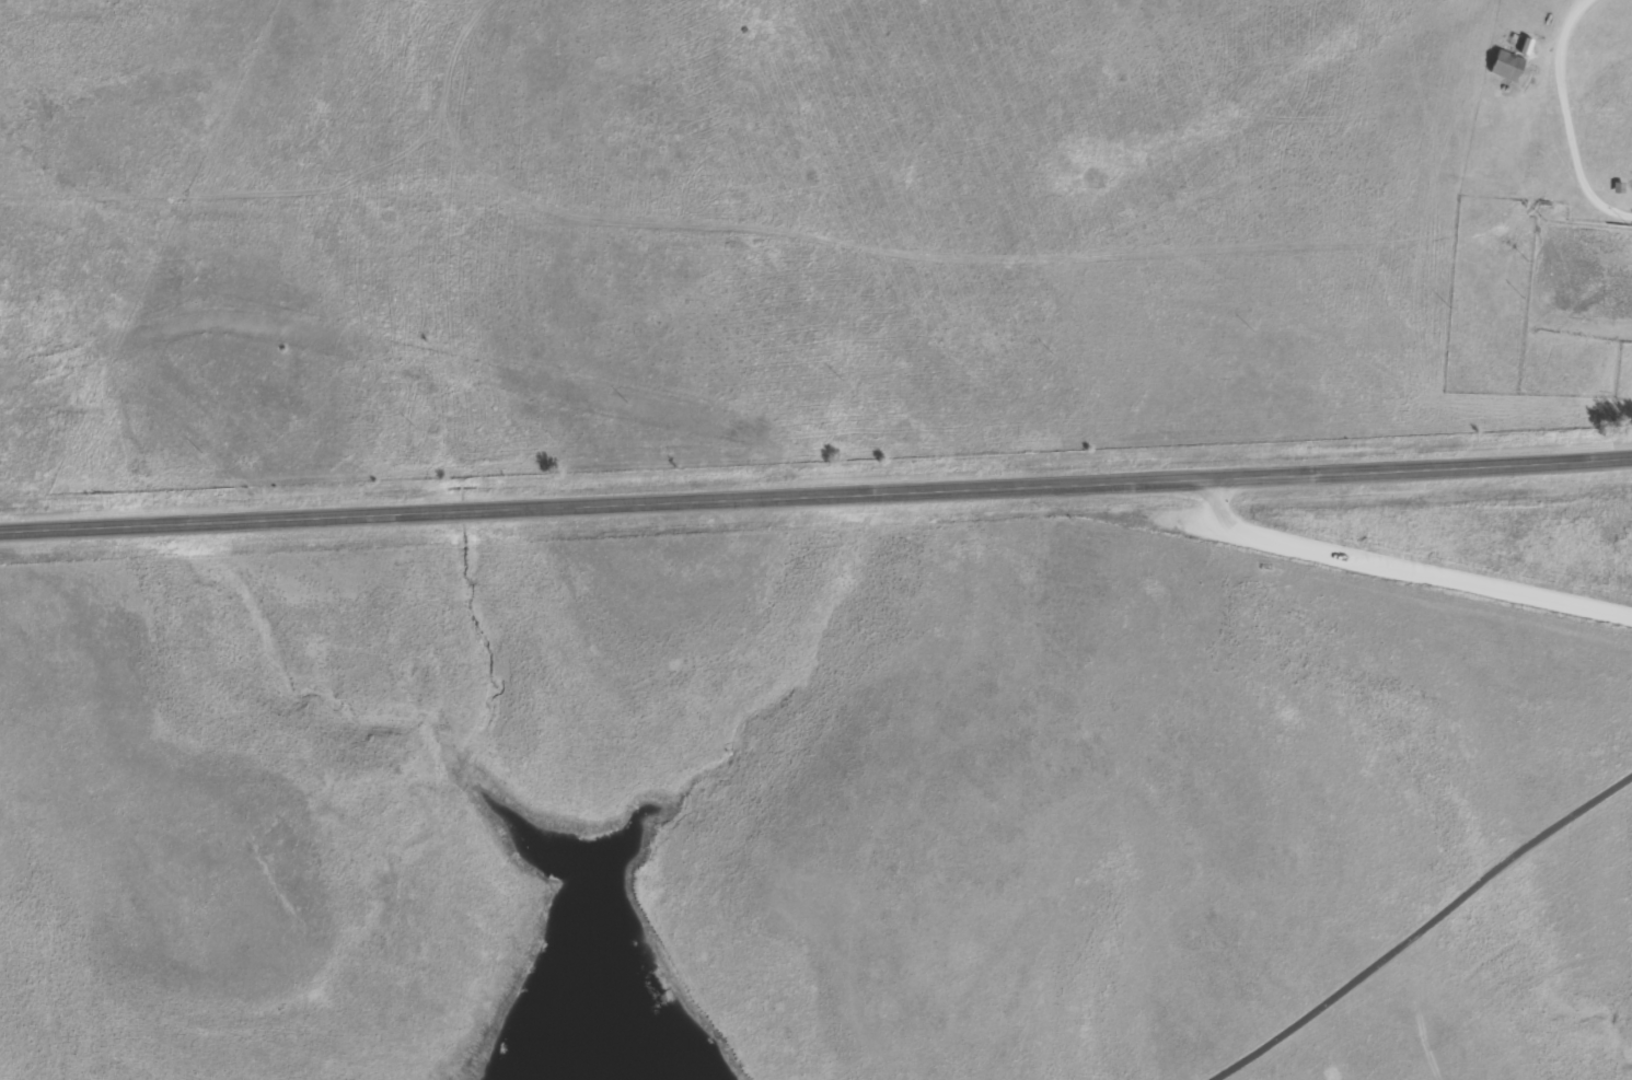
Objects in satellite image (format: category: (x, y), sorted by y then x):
building: (1507, 65)
road: (815, 498)
road: (1373, 569)
road: (1422, 922)

